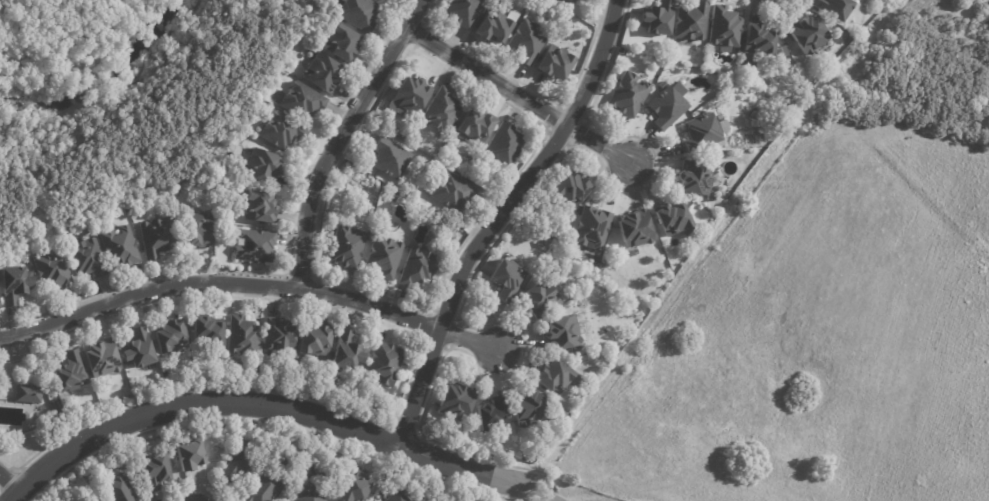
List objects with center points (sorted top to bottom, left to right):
building: (574, 0)
building: (831, 8)
building: (462, 11)
building: (356, 13)
building: (656, 18)
building: (690, 21)
park: (52, 27)
building: (490, 28)
building: (724, 29)
building: (806, 33)
building: (758, 41)
building: (526, 42)
building: (339, 43)
building: (553, 63)
building: (320, 74)
road: (486, 79)
building: (627, 95)
building: (408, 96)
building: (301, 100)
building: (665, 107)
building: (786, 107)
building: (440, 110)
building: (473, 127)
building: (280, 131)
building: (702, 132)
building: (399, 134)
road: (341, 137)
road: (165, 141)
building: (504, 145)
road: (600, 146)
building: (389, 158)
building: (712, 160)
building: (260, 167)
building: (694, 178)
building: (570, 190)
building: (451, 191)
building: (392, 195)
building: (261, 208)
road: (494, 215)
building: (674, 220)
building: (592, 228)
building: (635, 229)
building: (200, 230)
building: (565, 232)
road: (708, 236)
building: (158, 238)
building: (345, 246)
building: (256, 247)
building: (123, 249)
building: (383, 256)
building: (89, 259)
building: (417, 269)
building: (54, 271)
building: (505, 279)
road: (216, 284)
building: (16, 285)
building: (539, 300)
building: (210, 332)
building: (560, 333)
building: (281, 334)
building: (171, 336)
building: (244, 337)
building: (317, 340)
road: (467, 340)
building: (141, 349)
building: (348, 352)
building: (102, 359)
building: (387, 361)
building: (72, 372)
building: (555, 377)
building: (29, 394)
building: (454, 402)
road: (263, 406)
building: (526, 408)
building: (489, 413)
building: (188, 454)
building: (298, 460)
building: (239, 464)
building: (152, 469)
road: (7, 484)
building: (262, 487)
building: (353, 488)
building: (116, 489)
building: (306, 495)
road: (548, 495)
building: (393, 496)
building: (95, 500)

